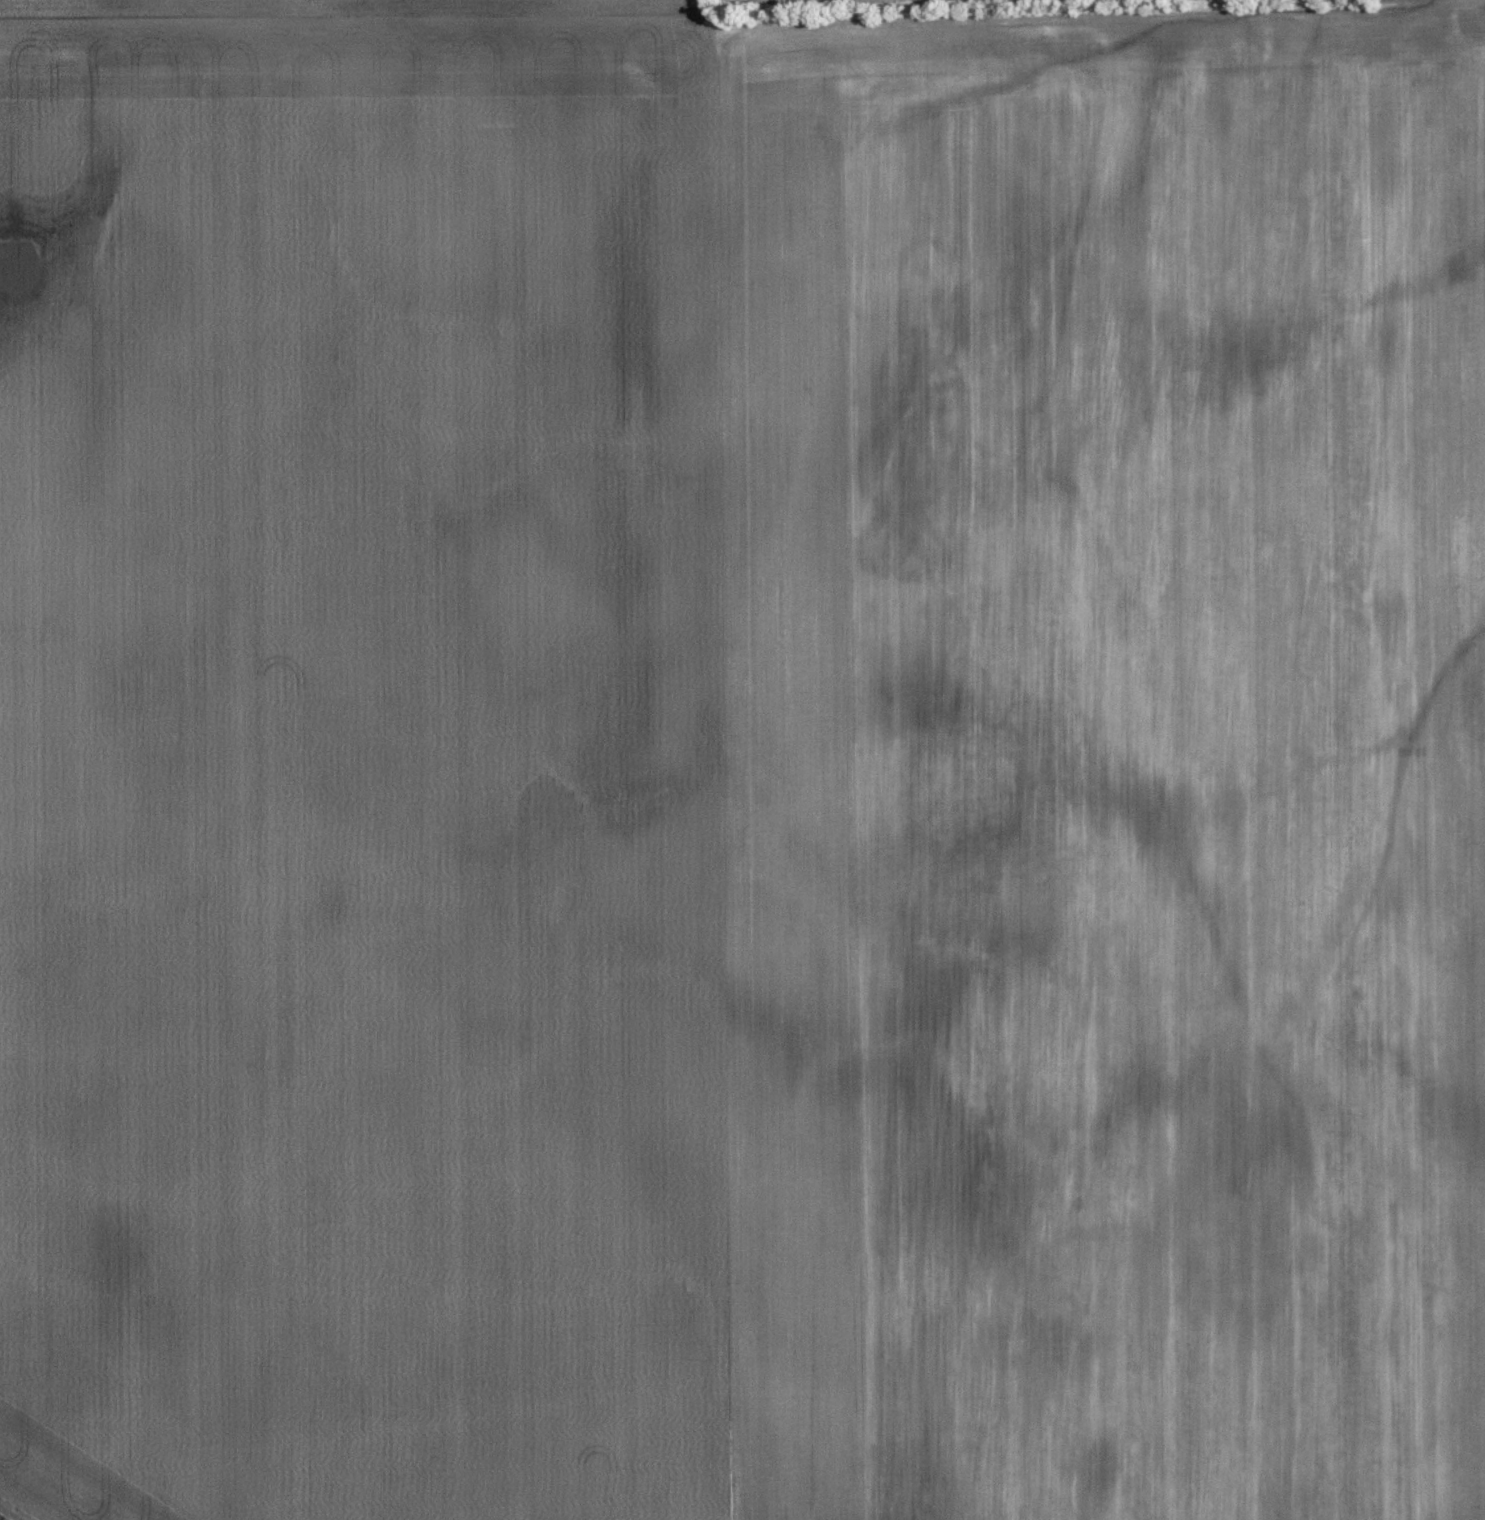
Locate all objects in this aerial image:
crop: (862, 5)
crop: (353, 8)
railway: (2, 1518)

